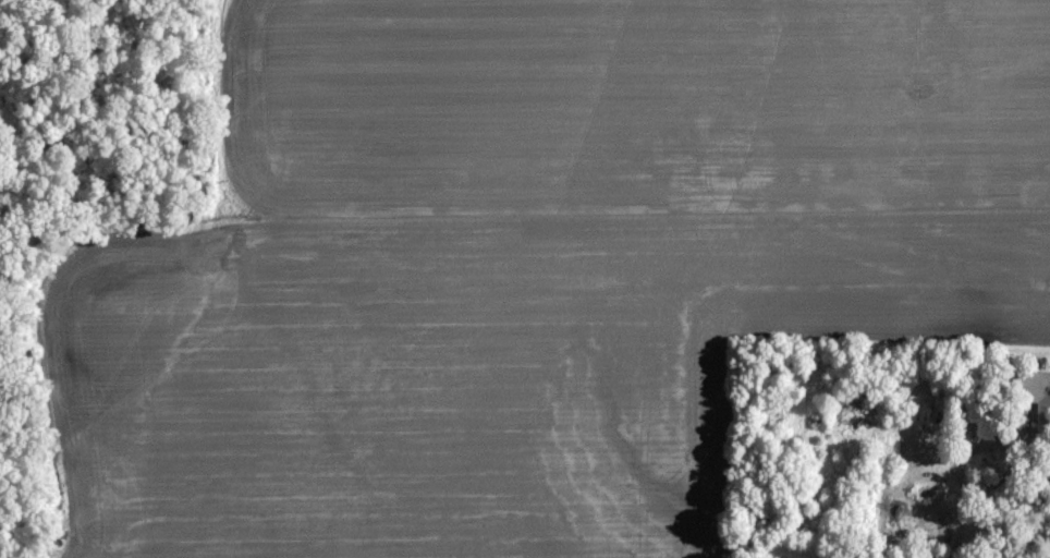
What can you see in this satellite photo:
building: (1046, 384)

